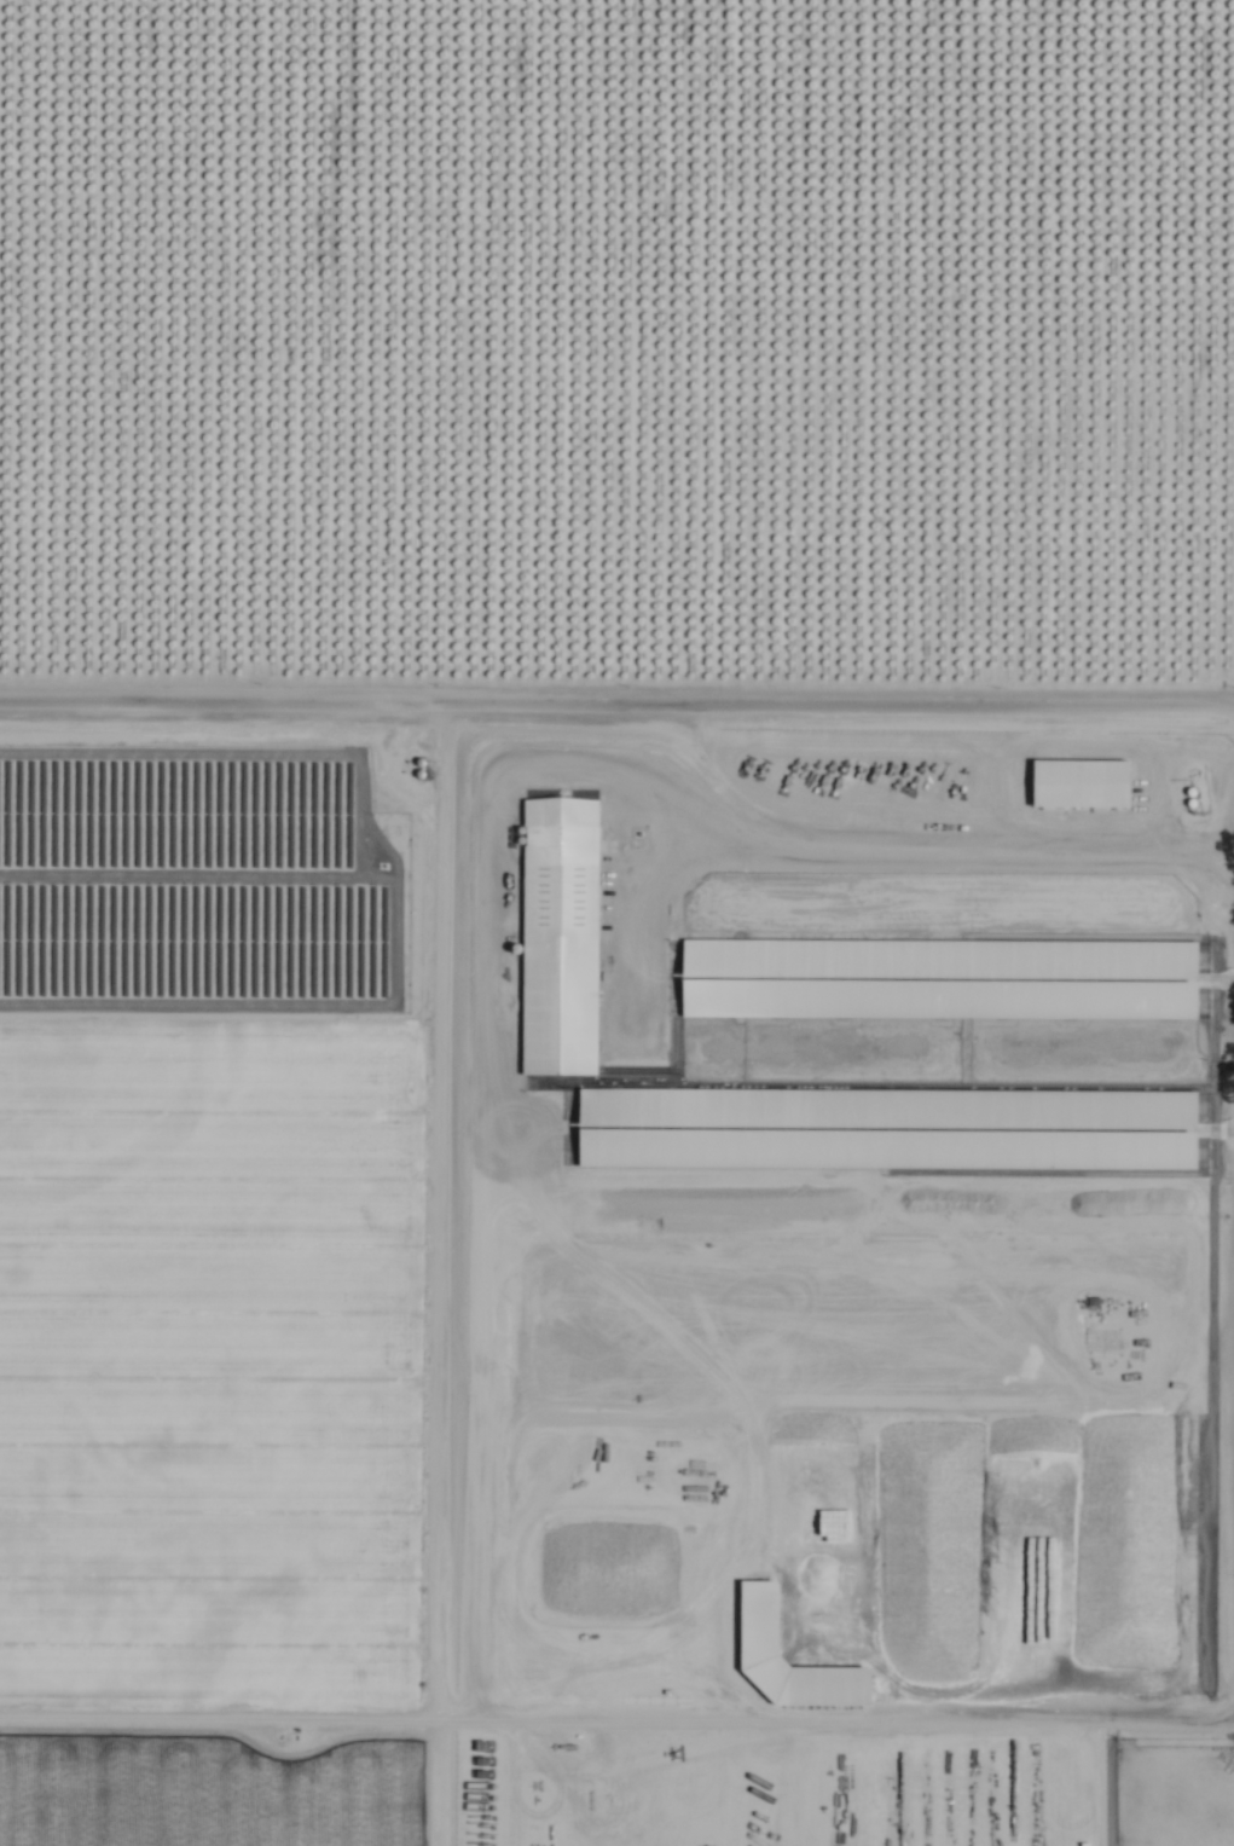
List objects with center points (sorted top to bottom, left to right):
road: (616, 695)
building: (1083, 781)
building: (563, 869)
building: (1177, 978)
building: (569, 1037)
building: (1186, 1138)
building: (848, 1683)
road: (1009, 1715)

